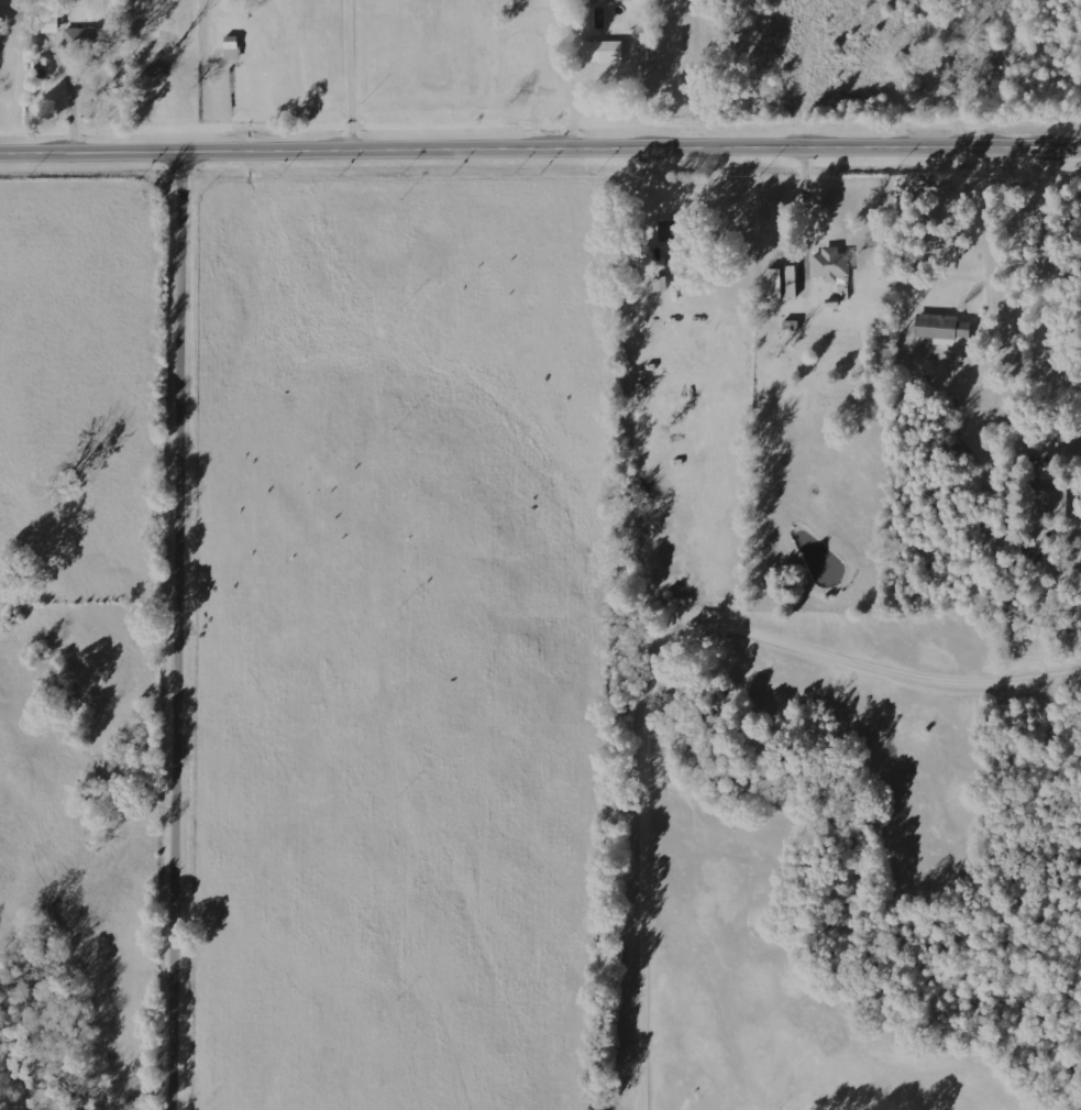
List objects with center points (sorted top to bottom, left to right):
building: (48, 22)
building: (230, 46)
building: (602, 50)
road: (540, 147)
building: (672, 229)
building: (830, 263)
building: (780, 281)
building: (660, 283)
building: (935, 325)
building: (1047, 503)
road: (188, 629)
road: (807, 889)

